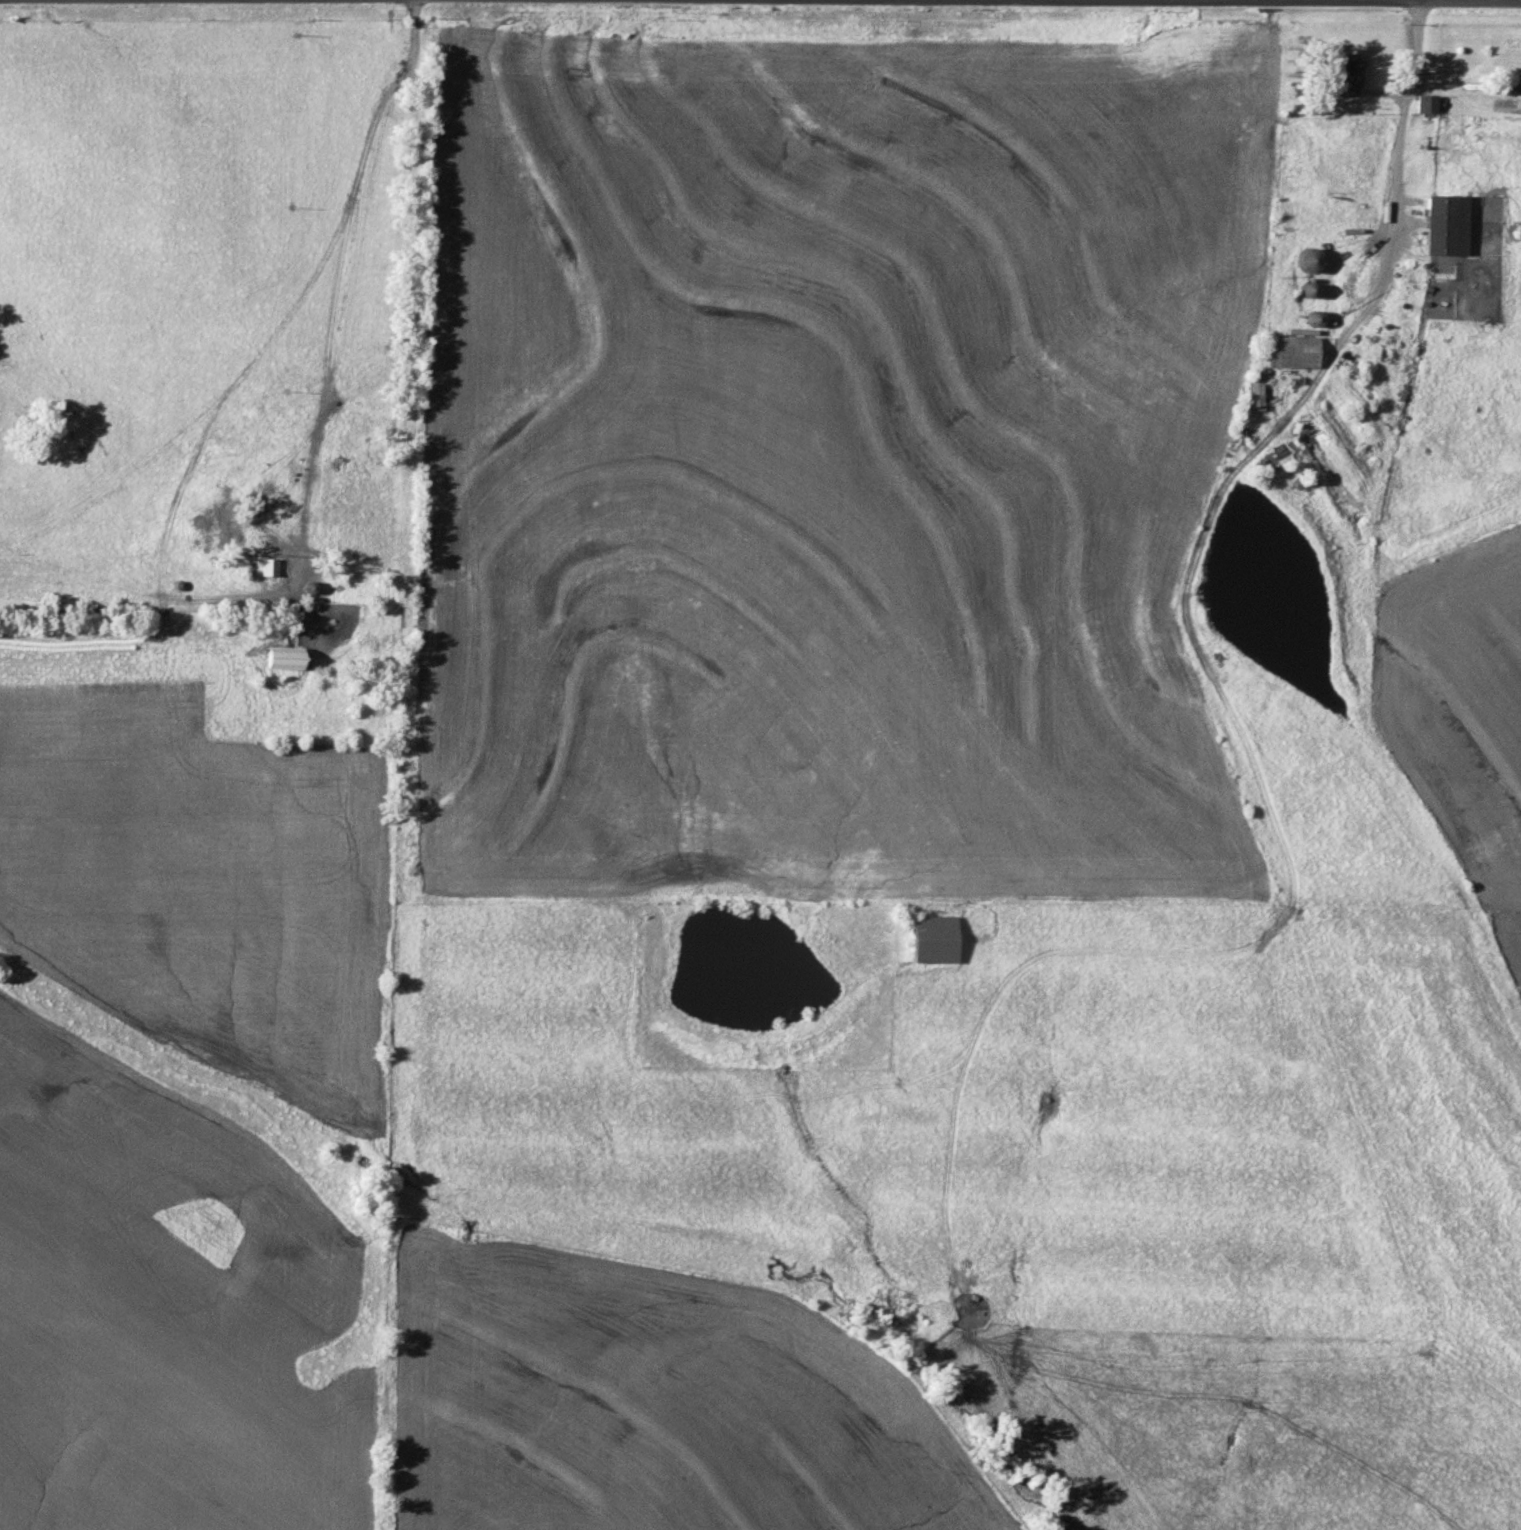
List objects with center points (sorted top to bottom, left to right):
building: (1441, 225)
building: (1288, 352)
building: (265, 567)
building: (278, 658)
building: (914, 926)

